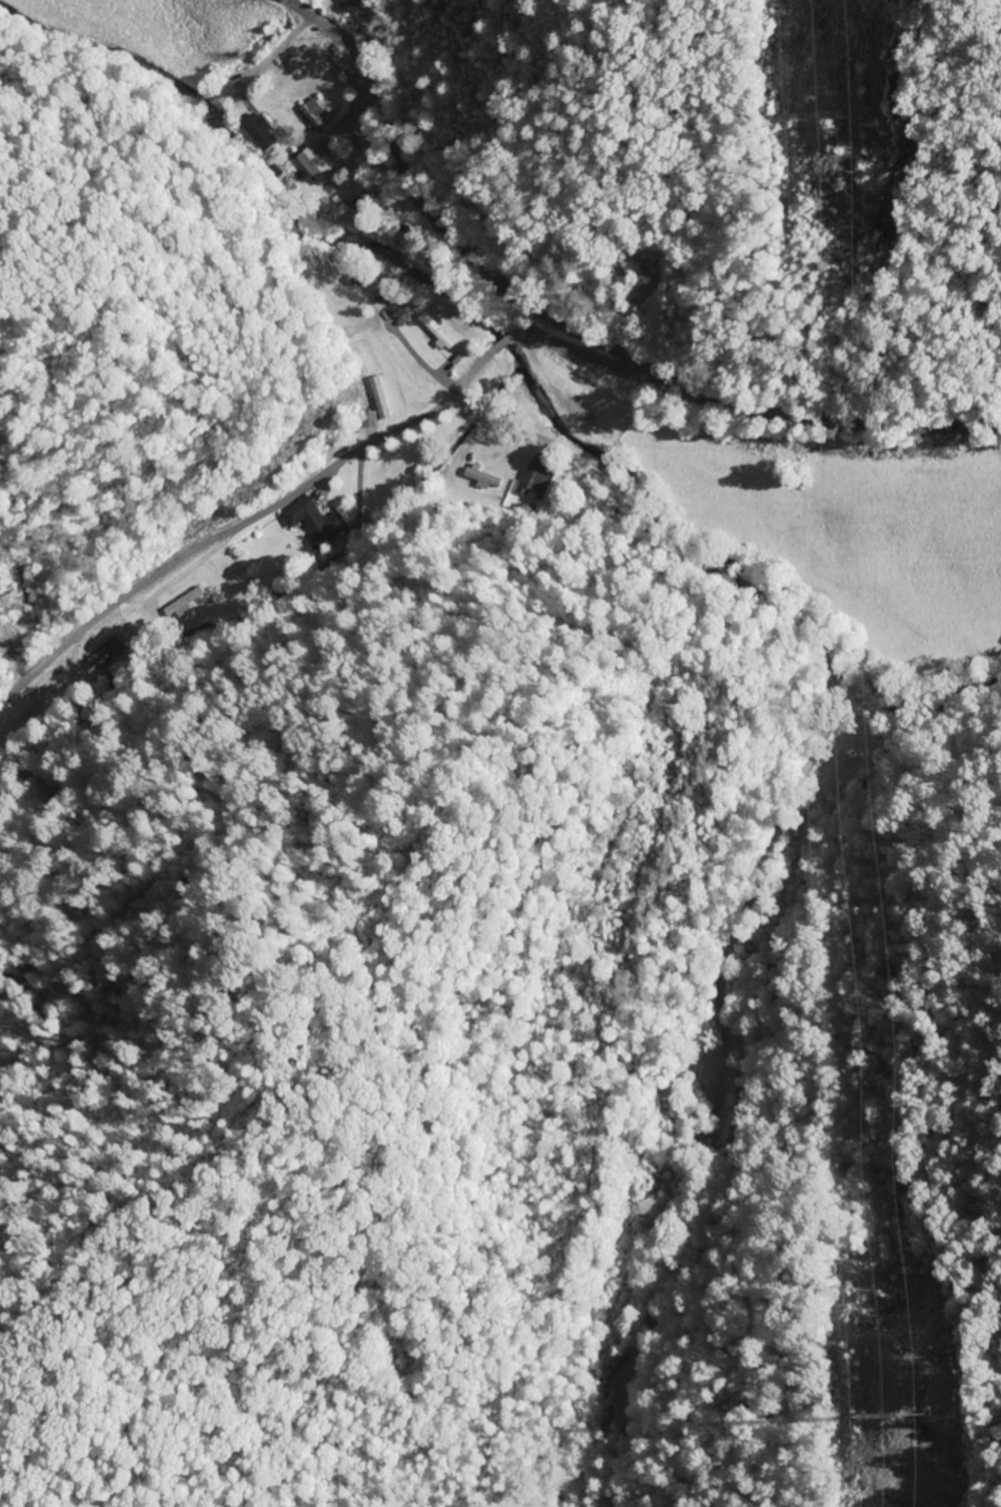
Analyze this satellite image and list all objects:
building: (349, 5)
road: (570, 329)
building: (437, 334)
road: (567, 350)
building: (387, 410)
building: (483, 478)
building: (319, 518)
road: (232, 530)
building: (187, 603)
road: (760, 860)
power tower: (902, 1408)

